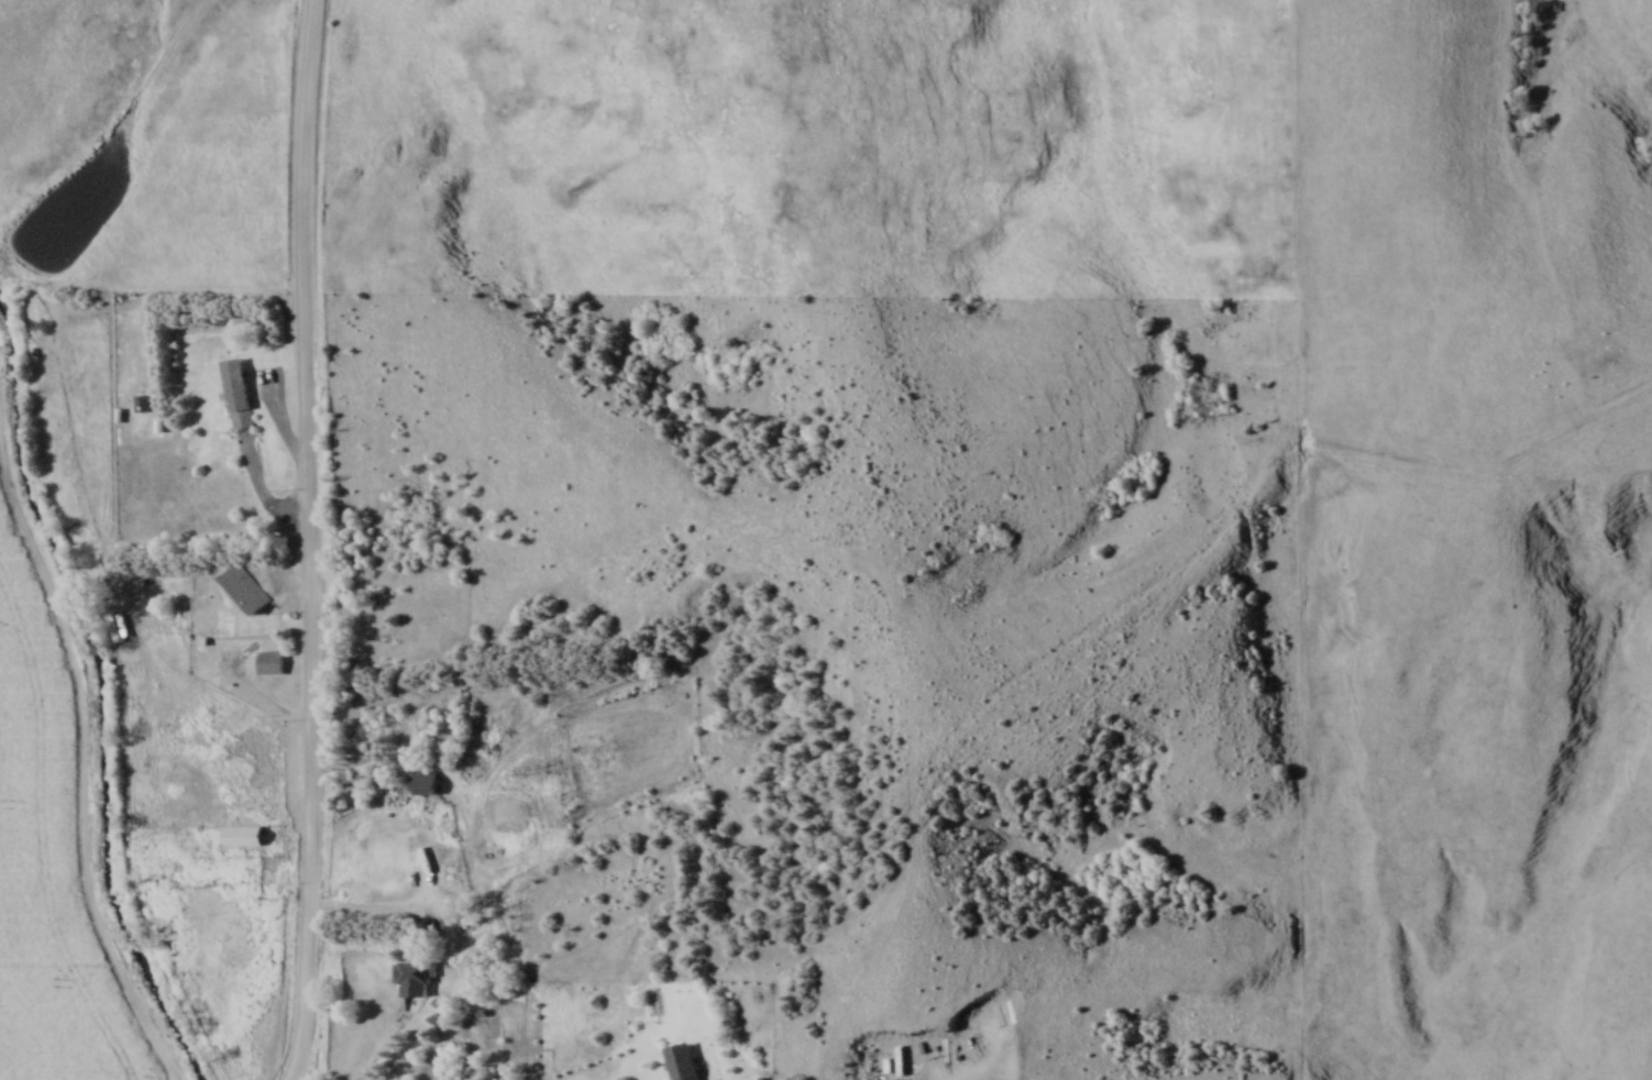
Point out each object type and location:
building: (255, 333)
building: (232, 395)
road: (312, 540)
building: (236, 591)
building: (235, 838)
building: (404, 976)
building: (900, 1061)
building: (680, 1064)

